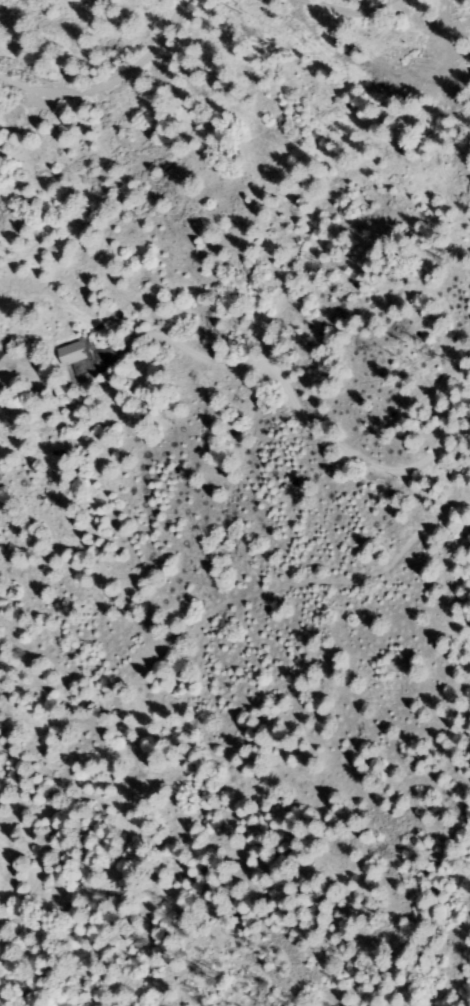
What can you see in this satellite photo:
building: (2, 354)
building: (73, 354)
road: (244, 367)

